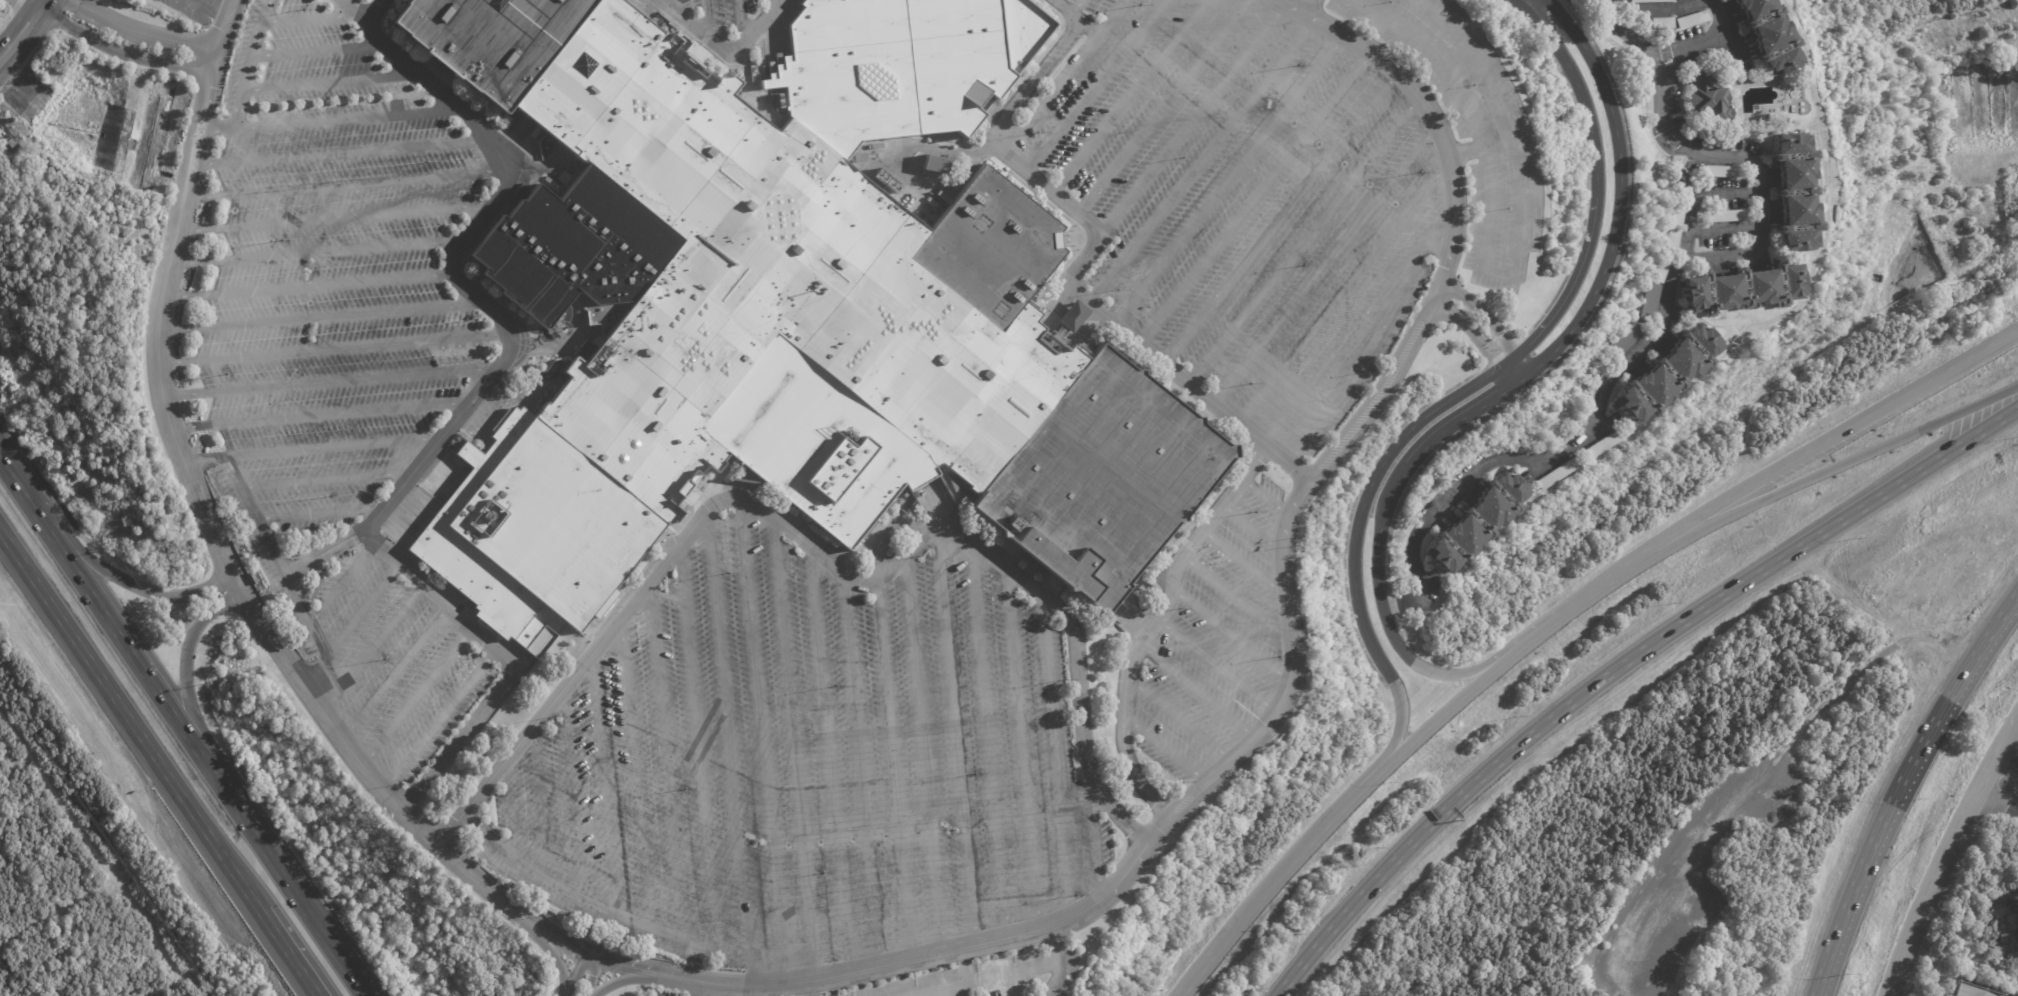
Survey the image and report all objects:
road: (390, 0)
building: (1729, 0)
road: (1202, 1)
road: (1204, 1)
building: (1650, 1)
road: (674, 2)
road: (27, 4)
road: (35, 4)
road: (1531, 4)
road: (1668, 5)
road: (1076, 7)
road: (1307, 8)
parking lot: (192, 9)
road: (206, 10)
road: (265, 11)
road: (380, 13)
parking lot: (721, 13)
road: (706, 15)
road: (736, 17)
road: (308, 18)
road: (1073, 18)
road: (1109, 18)
building: (1692, 19)
building: (1662, 23)
road: (16, 31)
road: (138, 32)
road: (1729, 34)
building: (1769, 35)
road: (219, 36)
road: (1698, 39)
road: (726, 44)
road: (116, 51)
road: (316, 51)
road: (1670, 66)
road: (244, 74)
road: (327, 83)
road: (1094, 85)
road: (1029, 87)
road: (1048, 93)
building: (1708, 96)
road: (1127, 97)
road: (1423, 106)
road: (1160, 108)
road: (1467, 110)
road: (345, 119)
road: (1191, 120)
road: (1507, 123)
parking lot: (1470, 128)
road: (215, 129)
road: (1480, 150)
road: (338, 153)
road: (1199, 163)
building: (941, 165)
building: (1721, 172)
road: (1225, 180)
building: (1678, 180)
building: (886, 181)
road: (342, 185)
building: (1797, 193)
road: (1252, 198)
parking lot: (1244, 202)
building: (1679, 213)
building: (1727, 217)
road: (1278, 218)
road: (332, 219)
road: (1724, 226)
road: (1428, 237)
road: (1302, 241)
building: (1675, 242)
building: (569, 249)
road: (1750, 251)
road: (313, 253)
road: (453, 263)
road: (1324, 266)
road: (166, 267)
building: (1663, 272)
road: (1496, 274)
parking lot: (327, 275)
road: (305, 287)
building: (1744, 289)
road: (1343, 293)
building: (1651, 302)
road: (1667, 306)
building: (796, 313)
building: (1072, 316)
road: (321, 318)
road: (1490, 322)
road: (1111, 324)
road: (1475, 339)
building: (1625, 341)
road: (333, 348)
road: (557, 348)
road: (1331, 357)
road: (1361, 370)
building: (1668, 374)
road: (1524, 376)
road: (1485, 377)
road: (330, 384)
road: (320, 417)
road: (1834, 436)
road: (330, 447)
building: (1600, 447)
road: (1835, 467)
building: (1557, 475)
road: (19, 481)
road: (323, 481)
road: (241, 497)
road: (1263, 497)
road: (316, 513)
building: (1476, 524)
road: (1250, 528)
road: (814, 550)
road: (319, 552)
road: (1245, 563)
road: (233, 576)
road: (1608, 581)
road: (126, 582)
road: (342, 583)
road: (1236, 598)
road: (303, 615)
road: (351, 624)
road: (1150, 627)
road: (1231, 636)
road: (126, 637)
parking lot: (1215, 642)
road: (1524, 646)
road: (372, 650)
road: (505, 657)
parking lot: (392, 663)
road: (1216, 666)
road: (183, 667)
road: (1619, 667)
building: (1849, 667)
road: (394, 673)
road: (1197, 692)
road: (416, 697)
road: (1440, 717)
road: (1179, 719)
road: (439, 720)
road: (127, 725)
road: (988, 737)
road: (956, 740)
road: (761, 741)
road: (697, 746)
road: (794, 747)
road: (1021, 747)
road: (729, 748)
road: (348, 749)
road: (1165, 749)
road: (924, 753)
road: (2017, 753)
road: (1054, 754)
road: (2007, 758)
road: (666, 760)
road: (828, 760)
parking lot: (805, 764)
road: (2014, 766)
road: (894, 769)
road: (634, 772)
road: (862, 772)
road: (603, 783)
road: (2005, 783)
road: (1901, 785)
road: (572, 795)
road: (1996, 801)
road: (1997, 801)
road: (540, 806)
road: (509, 812)
road: (1095, 839)
road: (1147, 845)
road: (1947, 853)
road: (465, 868)
road: (1282, 871)
road: (290, 880)
road: (1941, 898)
building: (2015, 903)
road: (593, 906)
road: (281, 955)
road: (552, 958)
road: (1057, 961)
road: (573, 975)
parking lot: (990, 976)
road: (593, 977)
road: (636, 981)
road: (999, 983)
road: (694, 988)
road: (799, 991)
building: (1967, 991)
parking lot: (656, 993)

